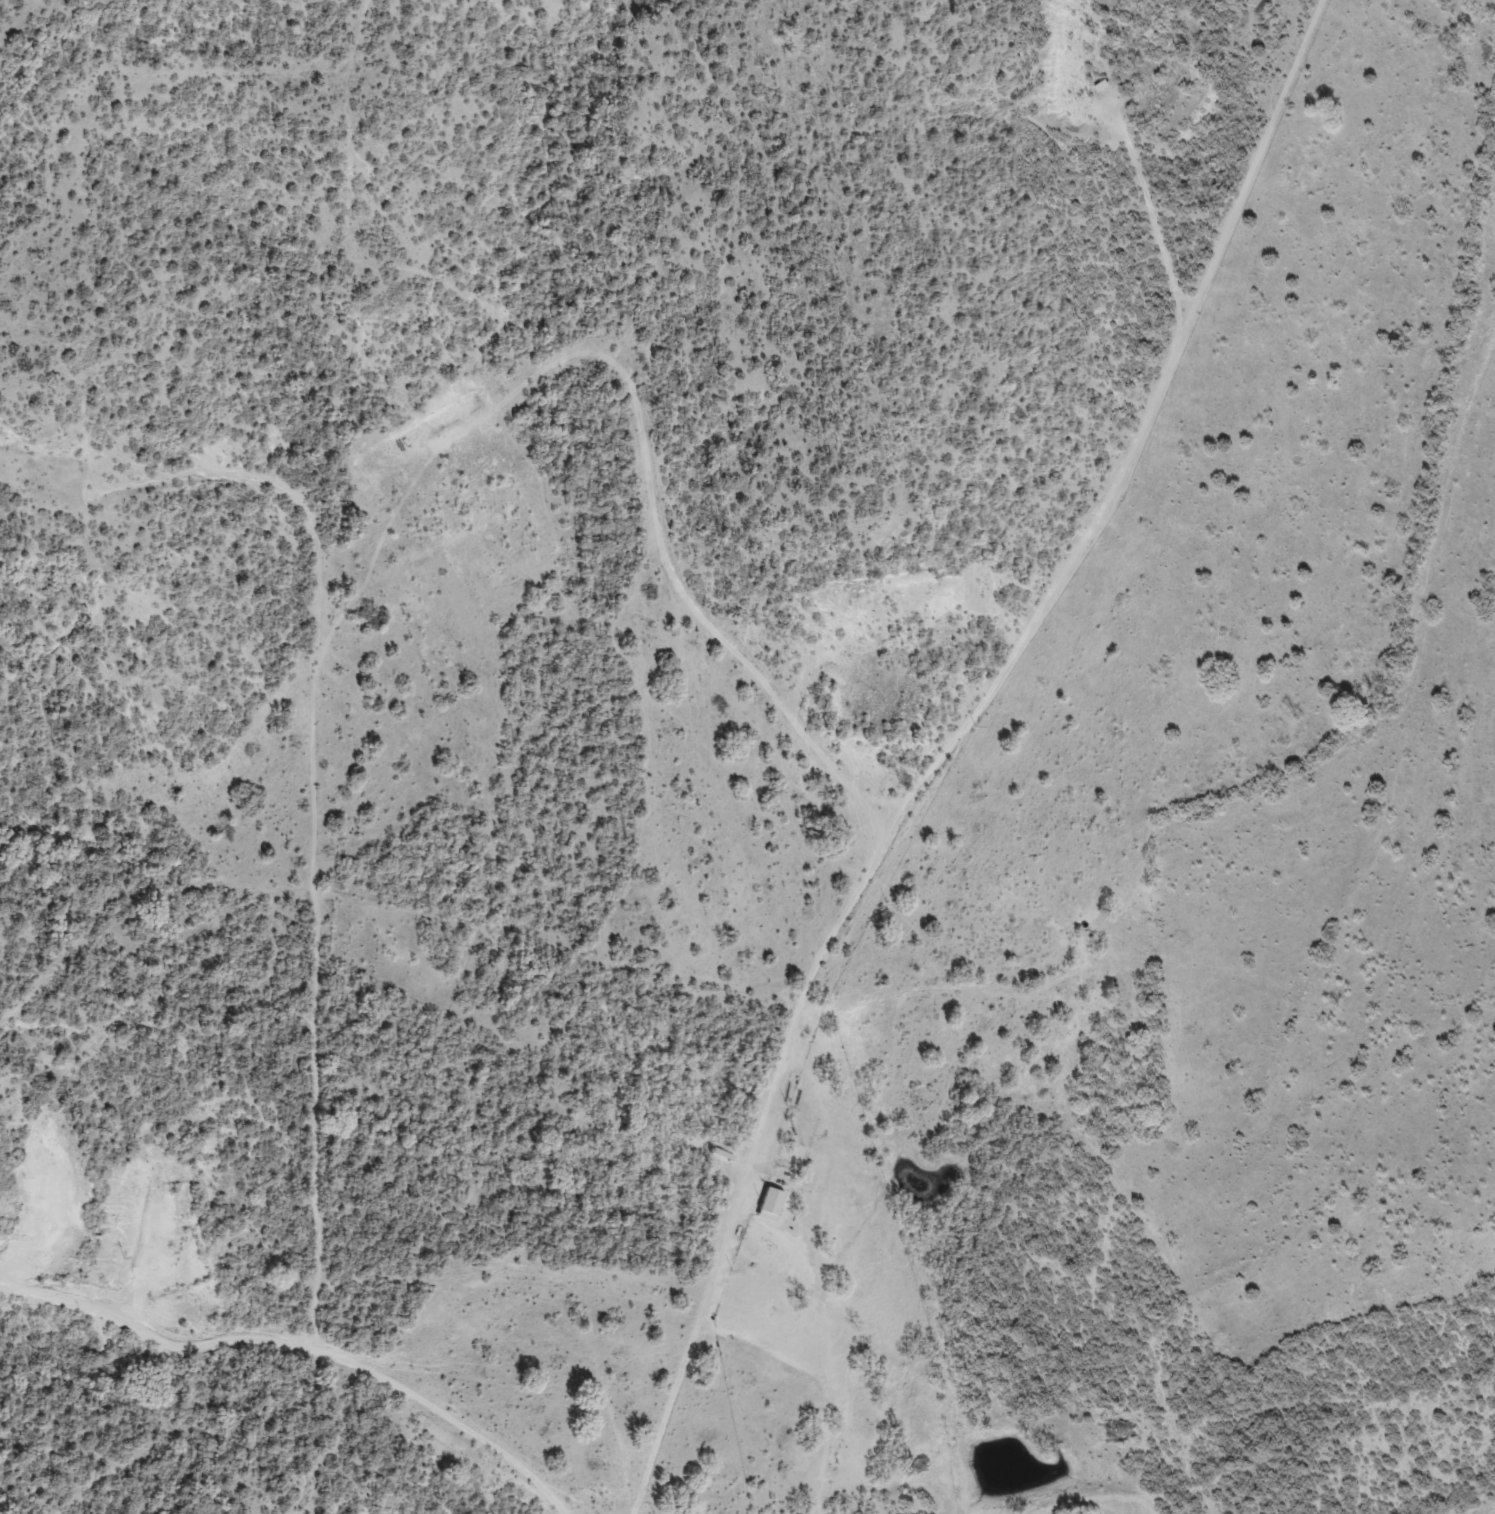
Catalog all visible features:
road: (978, 727)
road: (325, 846)
building: (772, 1203)
road: (279, 1363)

